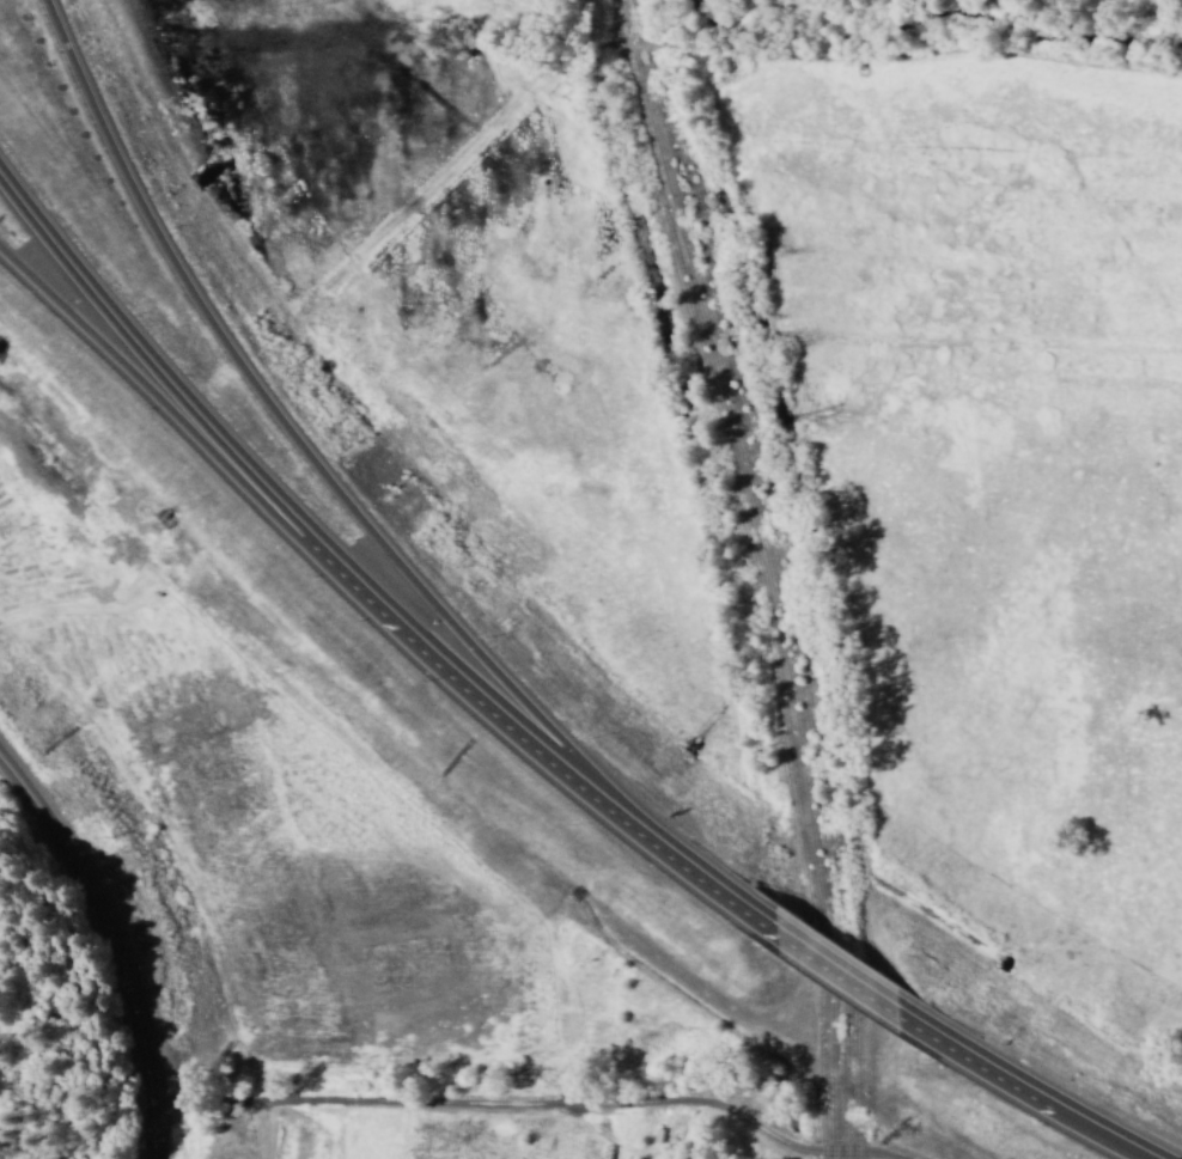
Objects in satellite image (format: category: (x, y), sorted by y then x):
road: (165, 407)
road: (294, 439)
railway: (792, 571)
railway: (755, 572)
railway: (767, 572)
road: (355, 584)
railway: (784, 592)
road: (115, 939)
road: (835, 970)
road: (1023, 1087)

